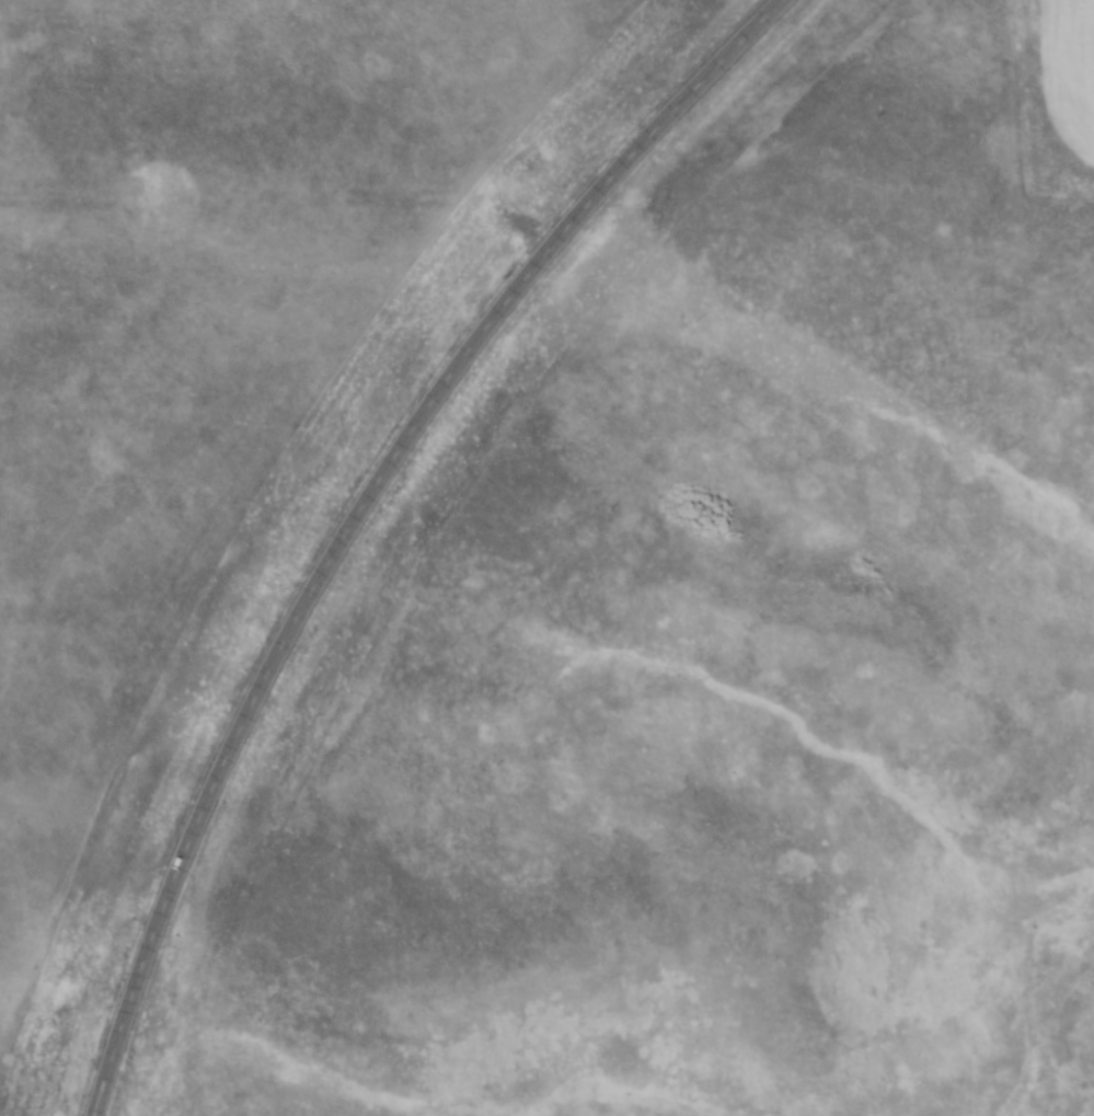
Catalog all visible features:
road: (361, 509)

